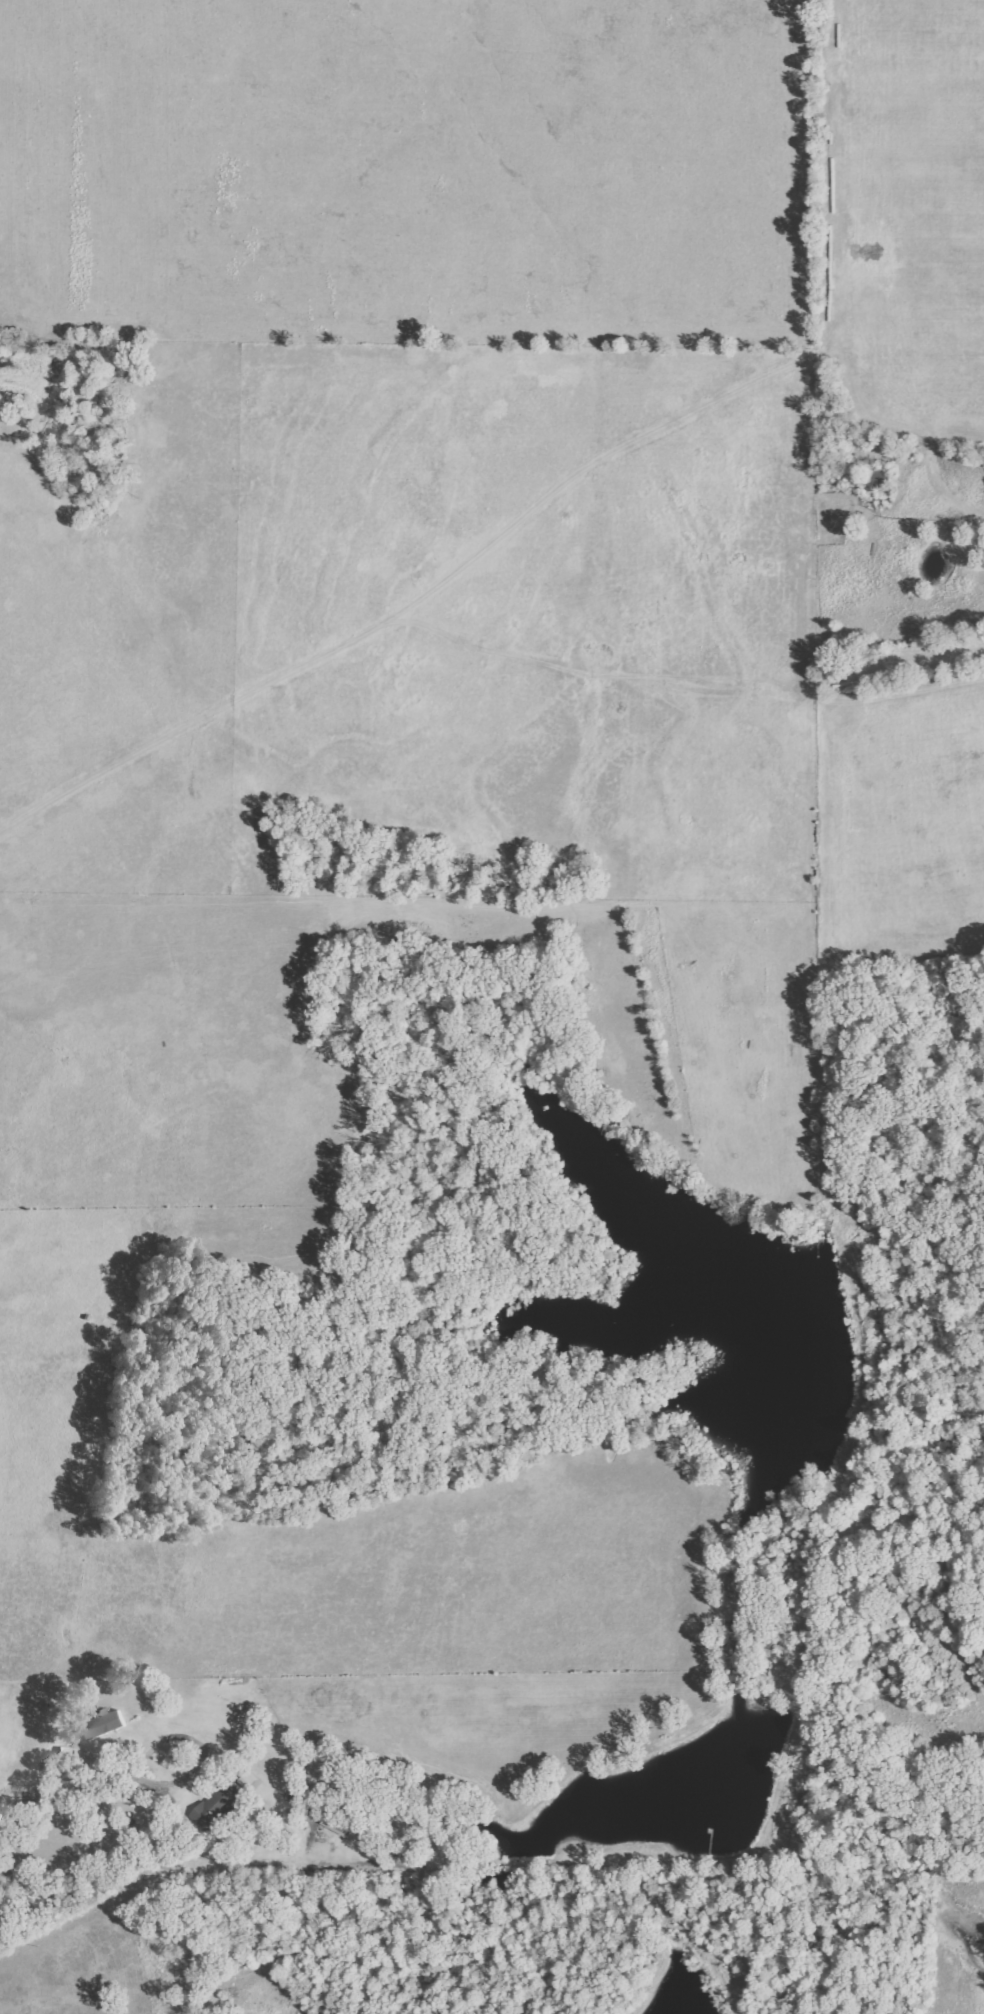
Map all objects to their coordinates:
building: (102, 1722)
road: (202, 1751)
road: (60, 1791)
building: (218, 1802)

